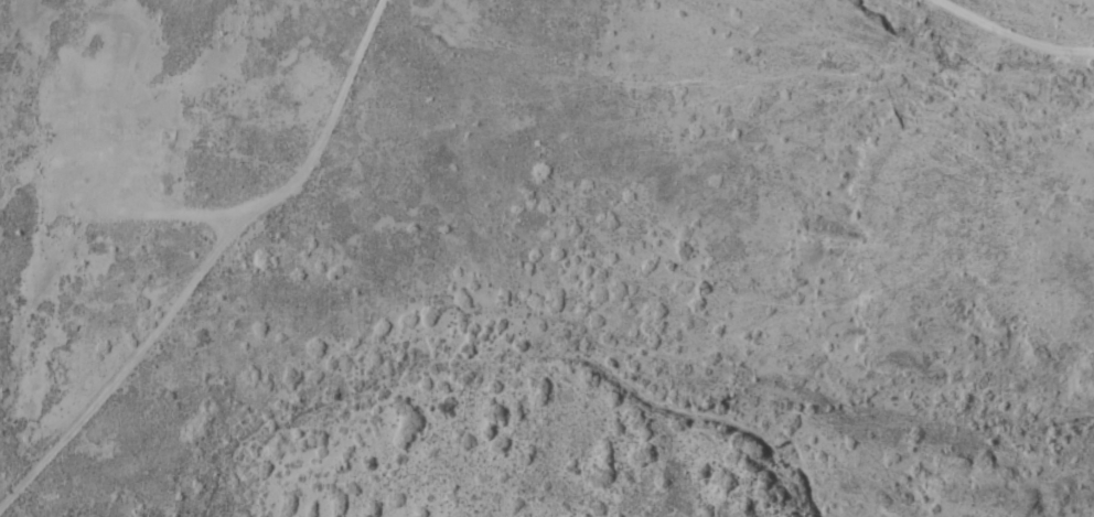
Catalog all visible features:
road: (984, 46)
road: (311, 175)
road: (111, 342)

